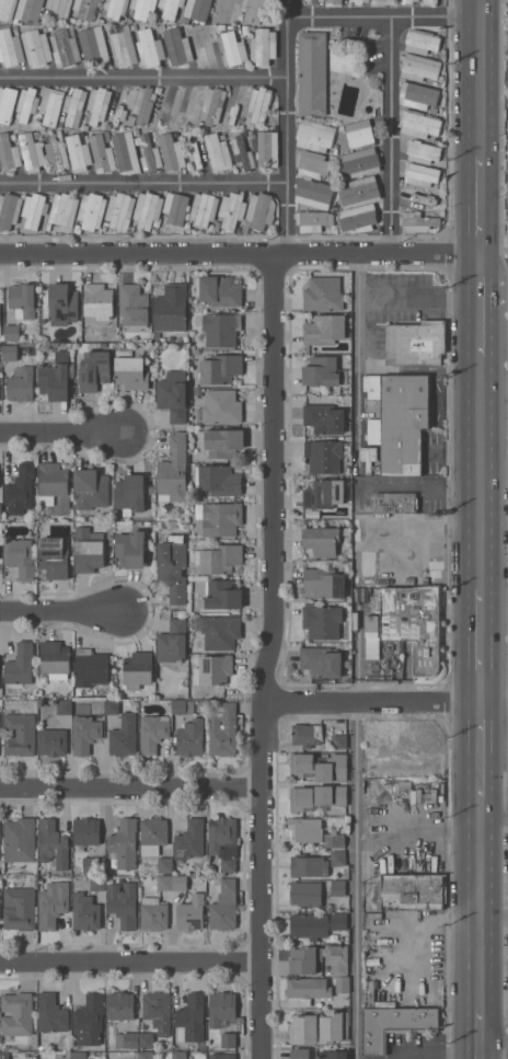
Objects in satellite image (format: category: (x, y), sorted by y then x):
building: (313, 1)
building: (359, 1)
building: (407, 1)
building: (434, 1)
building: (334, 2)
building: (381, 2)
building: (58, 8)
building: (115, 8)
building: (142, 8)
building: (170, 8)
building: (7, 9)
building: (85, 9)
building: (28, 10)
building: (197, 10)
building: (226, 10)
building: (253, 10)
road: (384, 16)
building: (422, 42)
building: (93, 46)
building: (122, 46)
building: (263, 46)
building: (10, 47)
building: (36, 47)
building: (175, 47)
building: (65, 48)
building: (149, 48)
building: (206, 49)
building: (233, 49)
building: (419, 67)
building: (312, 73)
road: (480, 78)
road: (143, 80)
building: (418, 95)
building: (236, 102)
building: (8, 103)
building: (26, 103)
building: (122, 103)
building: (97, 104)
building: (143, 104)
building: (168, 104)
building: (190, 104)
building: (259, 104)
building: (50, 105)
building: (213, 105)
building: (73, 107)
building: (419, 124)
road: (288, 127)
building: (360, 135)
road: (391, 135)
building: (314, 136)
building: (267, 149)
building: (418, 151)
building: (32, 152)
building: (126, 152)
building: (171, 152)
building: (218, 152)
building: (9, 153)
building: (78, 153)
building: (195, 153)
building: (242, 153)
building: (102, 154)
building: (150, 154)
building: (57, 156)
building: (359, 163)
building: (312, 164)
building: (0, 170)
building: (420, 175)
road: (145, 182)
building: (360, 192)
building: (313, 193)
building: (419, 195)
road: (478, 207)
building: (147, 209)
building: (176, 209)
building: (204, 209)
building: (9, 210)
building: (34, 210)
building: (62, 210)
building: (91, 210)
building: (232, 210)
building: (261, 210)
building: (119, 211)
building: (358, 218)
building: (311, 221)
building: (418, 222)
road: (239, 254)
road: (493, 261)
road: (478, 283)
building: (218, 291)
building: (325, 295)
building: (22, 300)
building: (62, 302)
building: (97, 302)
road: (419, 302)
building: (134, 304)
building: (171, 309)
building: (218, 329)
building: (325, 330)
building: (11, 333)
road: (480, 333)
building: (415, 343)
building: (9, 353)
road: (358, 362)
building: (221, 368)
building: (130, 370)
building: (94, 371)
building: (323, 372)
building: (56, 378)
building: (365, 382)
building: (21, 385)
building: (173, 395)
building: (220, 407)
building: (325, 418)
building: (399, 423)
road: (58, 435)
building: (223, 442)
building: (325, 456)
road: (478, 470)
road: (493, 471)
building: (173, 472)
building: (220, 481)
building: (54, 487)
road: (420, 487)
building: (20, 490)
building: (90, 490)
building: (129, 493)
building: (323, 494)
building: (394, 503)
building: (0, 511)
building: (219, 518)
building: (321, 541)
building: (129, 550)
road: (423, 550)
building: (88, 551)
building: (20, 557)
building: (54, 557)
building: (218, 559)
building: (172, 574)
building: (324, 583)
building: (221, 595)
road: (60, 611)
building: (323, 621)
building: (372, 623)
building: (414, 623)
building: (218, 631)
road: (481, 636)
building: (173, 642)
road: (267, 656)
building: (55, 660)
building: (321, 661)
building: (19, 666)
building: (91, 668)
building: (138, 669)
building: (213, 670)
road: (495, 690)
road: (371, 701)
building: (178, 706)
building: (63, 707)
building: (111, 707)
building: (223, 730)
building: (153, 733)
building: (20, 734)
building: (84, 734)
building: (307, 735)
building: (124, 736)
building: (190, 738)
building: (1, 741)
building: (53, 741)
building: (338, 741)
road: (481, 744)
building: (372, 757)
building: (412, 766)
building: (320, 767)
road: (129, 789)
building: (317, 796)
road: (494, 819)
building: (305, 830)
building: (86, 831)
building: (152, 836)
building: (189, 841)
building: (333, 841)
building: (19, 842)
building: (223, 842)
building: (53, 844)
building: (124, 844)
building: (337, 857)
road: (360, 857)
building: (93, 864)
road: (462, 864)
building: (165, 865)
building: (308, 866)
building: (172, 883)
building: (97, 884)
building: (337, 887)
building: (1, 893)
building: (411, 893)
building: (307, 895)
building: (1, 900)
building: (53, 903)
building: (123, 903)
road: (478, 903)
building: (224, 907)
building: (20, 909)
building: (85, 912)
building: (192, 913)
building: (154, 914)
road: (409, 919)
road: (493, 920)
building: (317, 925)
building: (319, 959)
road: (130, 965)
building: (315, 989)
building: (120, 1005)
building: (221, 1008)
building: (158, 1012)
building: (16, 1014)
building: (51, 1014)
building: (190, 1018)
building: (89, 1020)
building: (393, 1025)
building: (334, 1027)
building: (303, 1029)
road: (477, 1034)
building: (228, 1038)
building: (126, 1040)
building: (146, 1040)
building: (300, 1054)
building: (79, 1055)
building: (146, 1055)
building: (178, 1055)
building: (332, 1055)
building: (222, 1056)
road: (418, 1056)
building: (4, 1058)

